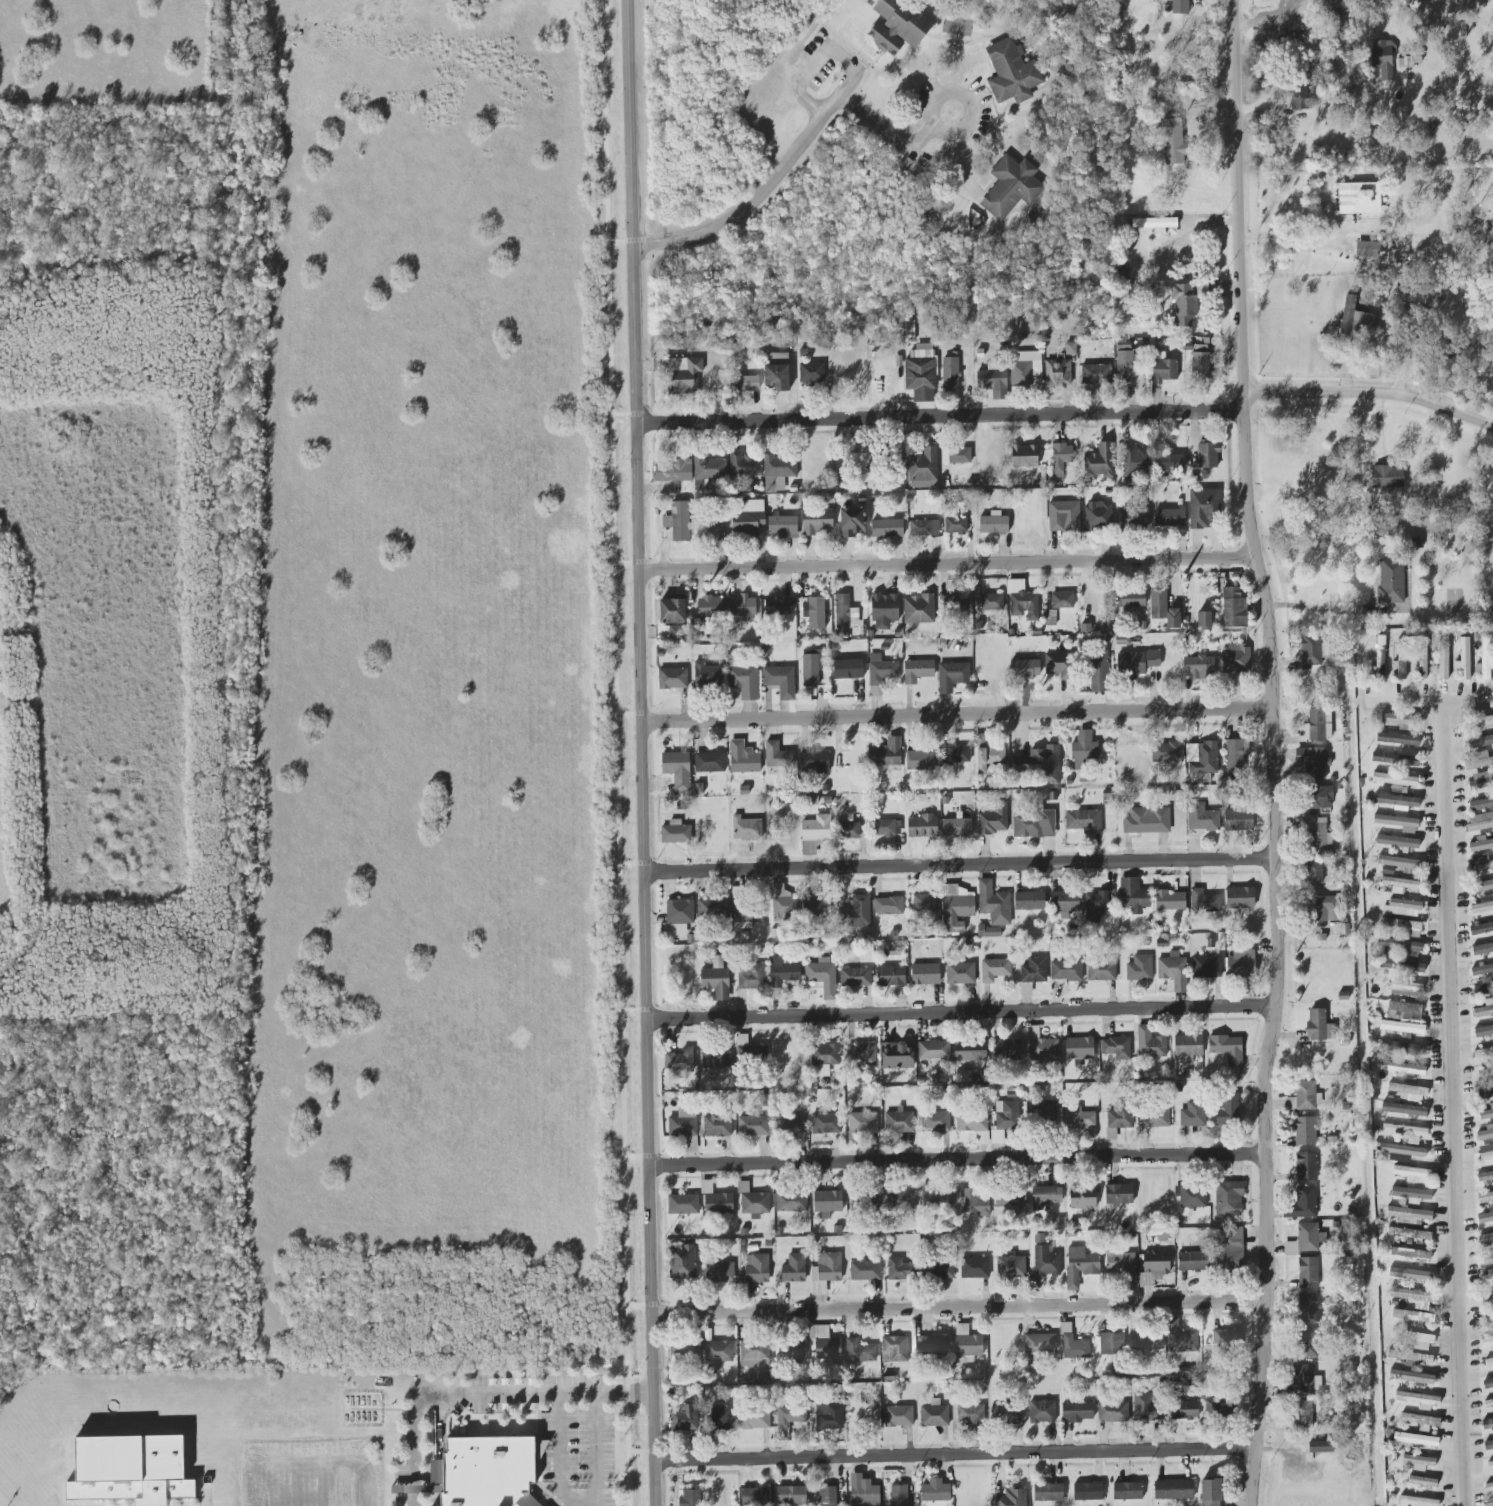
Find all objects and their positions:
building: (1179, 7)
building: (899, 25)
building: (1382, 58)
building: (1409, 61)
building: (1012, 72)
building: (1299, 96)
road: (896, 139)
road: (802, 141)
building: (1173, 142)
road: (631, 163)
building: (1011, 187)
building: (1358, 198)
building: (1491, 202)
building: (1154, 223)
road: (620, 241)
building: (1374, 250)
building: (1184, 304)
building: (1356, 320)
building: (908, 327)
building: (1070, 348)
building: (778, 359)
building: (1124, 362)
building: (1200, 366)
building: (811, 370)
building: (1165, 371)
building: (1058, 373)
building: (950, 374)
building: (1026, 374)
building: (1096, 374)
building: (920, 375)
building: (776, 376)
building: (685, 379)
building: (994, 379)
building: (746, 384)
road: (1370, 392)
road: (624, 414)
road: (939, 416)
building: (957, 455)
building: (1208, 455)
building: (1024, 456)
building: (1061, 458)
building: (1100, 461)
building: (1170, 461)
building: (1135, 462)
building: (745, 465)
building: (923, 466)
building: (708, 470)
building: (778, 470)
building: (674, 471)
building: (1386, 477)
building: (1203, 507)
building: (1097, 516)
building: (747, 517)
building: (1064, 517)
building: (1169, 517)
building: (853, 518)
building: (1134, 519)
building: (817, 522)
building: (679, 523)
building: (956, 525)
building: (783, 526)
building: (994, 526)
building: (887, 528)
building: (924, 528)
building: (714, 533)
road: (627, 563)
road: (947, 566)
building: (1391, 582)
building: (1131, 598)
building: (1062, 600)
building: (1022, 601)
building: (953, 602)
building: (992, 602)
building: (778, 606)
building: (918, 606)
building: (884, 607)
building: (710, 608)
building: (743, 608)
building: (1234, 608)
building: (1163, 609)
road: (1336, 610)
building: (815, 612)
building: (844, 612)
building: (673, 614)
building: (1204, 620)
building: (1313, 649)
building: (1380, 653)
building: (1443, 657)
building: (1400, 658)
building: (1236, 660)
building: (1463, 660)
building: (1485, 660)
building: (1137, 662)
building: (1422, 662)
building: (1056, 664)
building: (1198, 667)
building: (811, 668)
building: (848, 669)
building: (1025, 669)
building: (918, 671)
building: (1098, 673)
building: (879, 674)
building: (706, 675)
building: (952, 676)
building: (673, 679)
building: (744, 681)
building: (780, 681)
road: (1437, 700)
road: (630, 714)
road: (959, 715)
building: (1479, 719)
building: (1398, 720)
building: (1317, 723)
building: (1397, 739)
building: (1481, 742)
building: (1085, 748)
road: (1274, 751)
road: (617, 752)
building: (987, 752)
building: (1167, 752)
building: (955, 753)
building: (886, 754)
building: (777, 755)
building: (1235, 756)
building: (742, 757)
building: (1205, 757)
building: (1396, 759)
building: (921, 760)
building: (1479, 761)
building: (709, 762)
building: (814, 763)
building: (1313, 763)
building: (1040, 764)
building: (677, 770)
building: (1394, 779)
building: (1481, 781)
building: (1318, 797)
building: (1396, 801)
building: (1481, 803)
building: (1202, 817)
building: (993, 820)
building: (1238, 820)
building: (1084, 821)
building: (1147, 821)
building: (1480, 822)
building: (1398, 823)
building: (1033, 824)
building: (922, 826)
building: (956, 827)
building: (886, 828)
building: (746, 829)
building: (849, 829)
building: (676, 833)
building: (815, 833)
building: (1318, 836)
building: (1396, 841)
building: (1481, 844)
road: (632, 863)
building: (1401, 863)
building: (1481, 863)
road: (960, 865)
building: (1314, 872)
building: (1400, 885)
building: (1482, 887)
building: (1133, 895)
building: (1240, 897)
building: (1169, 899)
building: (1029, 901)
building: (1204, 901)
building: (994, 903)
building: (1064, 903)
building: (783, 904)
building: (1097, 904)
building: (1483, 904)
building: (819, 906)
building: (888, 906)
building: (957, 906)
building: (712, 908)
building: (1402, 908)
building: (1326, 909)
building: (679, 910)
building: (927, 910)
building: (745, 911)
building: (855, 913)
road: (646, 916)
building: (1404, 927)
building: (1481, 928)
building: (989, 932)
building: (1482, 949)
building: (1241, 965)
building: (1402, 966)
building: (1139, 967)
building: (1206, 967)
building: (995, 969)
building: (1033, 969)
building: (1482, 969)
building: (1066, 970)
building: (1101, 970)
building: (1173, 971)
building: (925, 973)
building: (960, 973)
building: (750, 975)
building: (782, 975)
building: (823, 976)
building: (891, 976)
building: (855, 977)
building: (716, 979)
building: (1484, 987)
building: (1025, 988)
building: (1405, 989)
building: (1484, 1009)
road: (634, 1010)
building: (1404, 1011)
road: (963, 1014)
building: (1319, 1026)
building: (1402, 1027)
building: (1483, 1031)
building: (1150, 1043)
building: (1115, 1044)
building: (1041, 1047)
building: (1188, 1048)
building: (1007, 1049)
building: (1080, 1049)
building: (1226, 1049)
building: (1401, 1050)
building: (750, 1051)
building: (933, 1051)
building: (970, 1051)
building: (864, 1052)
building: (825, 1053)
building: (1483, 1053)
building: (895, 1055)
building: (715, 1057)
building: (679, 1060)
building: (1402, 1068)
building: (1485, 1074)
building: (1178, 1088)
building: (1485, 1092)
building: (1304, 1097)
building: (1406, 1098)
road: (1454, 1103)
building: (1228, 1110)
building: (1045, 1112)
building: (1487, 1112)
building: (1193, 1113)
building: (1008, 1116)
building: (1121, 1116)
building: (1155, 1116)
building: (1079, 1118)
building: (971, 1120)
building: (898, 1121)
building: (935, 1121)
building: (863, 1122)
building: (826, 1123)
building: (685, 1124)
building: (717, 1124)
building: (753, 1125)
building: (797, 1131)
building: (1305, 1131)
building: (1406, 1132)
building: (1486, 1133)
building: (1403, 1150)
building: (1485, 1151)
road: (637, 1156)
road: (960, 1163)
building: (1306, 1166)
building: (1411, 1172)
building: (1485, 1177)
building: (1411, 1192)
building: (1117, 1193)
building: (1046, 1195)
building: (1192, 1196)
building: (1485, 1196)
building: (937, 1198)
building: (1228, 1198)
building: (1083, 1199)
building: (1010, 1200)
building: (791, 1201)
building: (864, 1201)
building: (900, 1201)
building: (753, 1202)
building: (683, 1203)
building: (719, 1203)
building: (828, 1203)
building: (973, 1203)
building: (1303, 1204)
building: (1409, 1215)
building: (1486, 1216)
building: (1073, 1224)
building: (1409, 1234)
building: (1309, 1237)
building: (1485, 1239)
building: (1290, 1248)
building: (1229, 1252)
building: (1410, 1253)
building: (1043, 1258)
building: (683, 1259)
building: (1119, 1259)
building: (1487, 1259)
building: (1193, 1261)
building: (1078, 1265)
building: (1010, 1266)
building: (973, 1267)
building: (792, 1268)
building: (757, 1269)
building: (895, 1269)
building: (939, 1269)
building: (719, 1271)
building: (865, 1271)
building: (1308, 1271)
building: (826, 1272)
building: (1411, 1274)
building: (1414, 1298)
building: (1487, 1298)
road: (639, 1305)
road: (959, 1308)
building: (1310, 1308)
building: (1490, 1313)
building: (1412, 1316)
building: (818, 1332)
building: (1181, 1337)
building: (1147, 1340)
building: (1227, 1340)
building: (1417, 1341)
building: (1487, 1341)
building: (1040, 1342)
building: (967, 1343)
building: (1112, 1343)
building: (1307, 1343)
building: (1073, 1344)
building: (933, 1345)
building: (895, 1348)
building: (829, 1349)
building: (793, 1351)
building: (859, 1351)
building: (717, 1352)
building: (755, 1353)
building: (1411, 1358)
building: (1488, 1361)
building: (1184, 1371)
building: (1411, 1377)
building: (1305, 1379)
building: (1488, 1382)
road: (483, 1394)
building: (1418, 1400)
building: (1488, 1403)
building: (1147, 1406)
building: (1218, 1408)
building: (1185, 1410)
building: (1042, 1411)
building: (1077, 1412)
building: (1113, 1412)
building: (1006, 1413)
building: (934, 1414)
building: (970, 1414)
building: (1301, 1414)
building: (790, 1416)
building: (829, 1416)
building: (898, 1416)
building: (719, 1417)
building: (684, 1419)
building: (755, 1419)
building: (1421, 1421)
building: (1487, 1425)
road: (439, 1426)
building: (1415, 1439)
building: (1488, 1444)
building: (1320, 1447)
road: (596, 1449)
road: (641, 1451)
road: (559, 1454)
road: (954, 1455)
building: (1418, 1462)
building: (1490, 1466)
building: (130, 1470)
building: (489, 1472)
building: (435, 1477)
building: (1422, 1482)
road: (593, 1486)
building: (1489, 1486)
building: (1173, 1488)
building: (863, 1490)
building: (935, 1490)
building: (1088, 1490)
building: (1128, 1490)
building: (1049, 1491)
building: (1210, 1492)
building: (791, 1495)
building: (899, 1495)
building: (755, 1496)
building: (827, 1496)
building: (690, 1497)
building: (1012, 1498)
building: (1417, 1501)
building: (1488, 1503)

